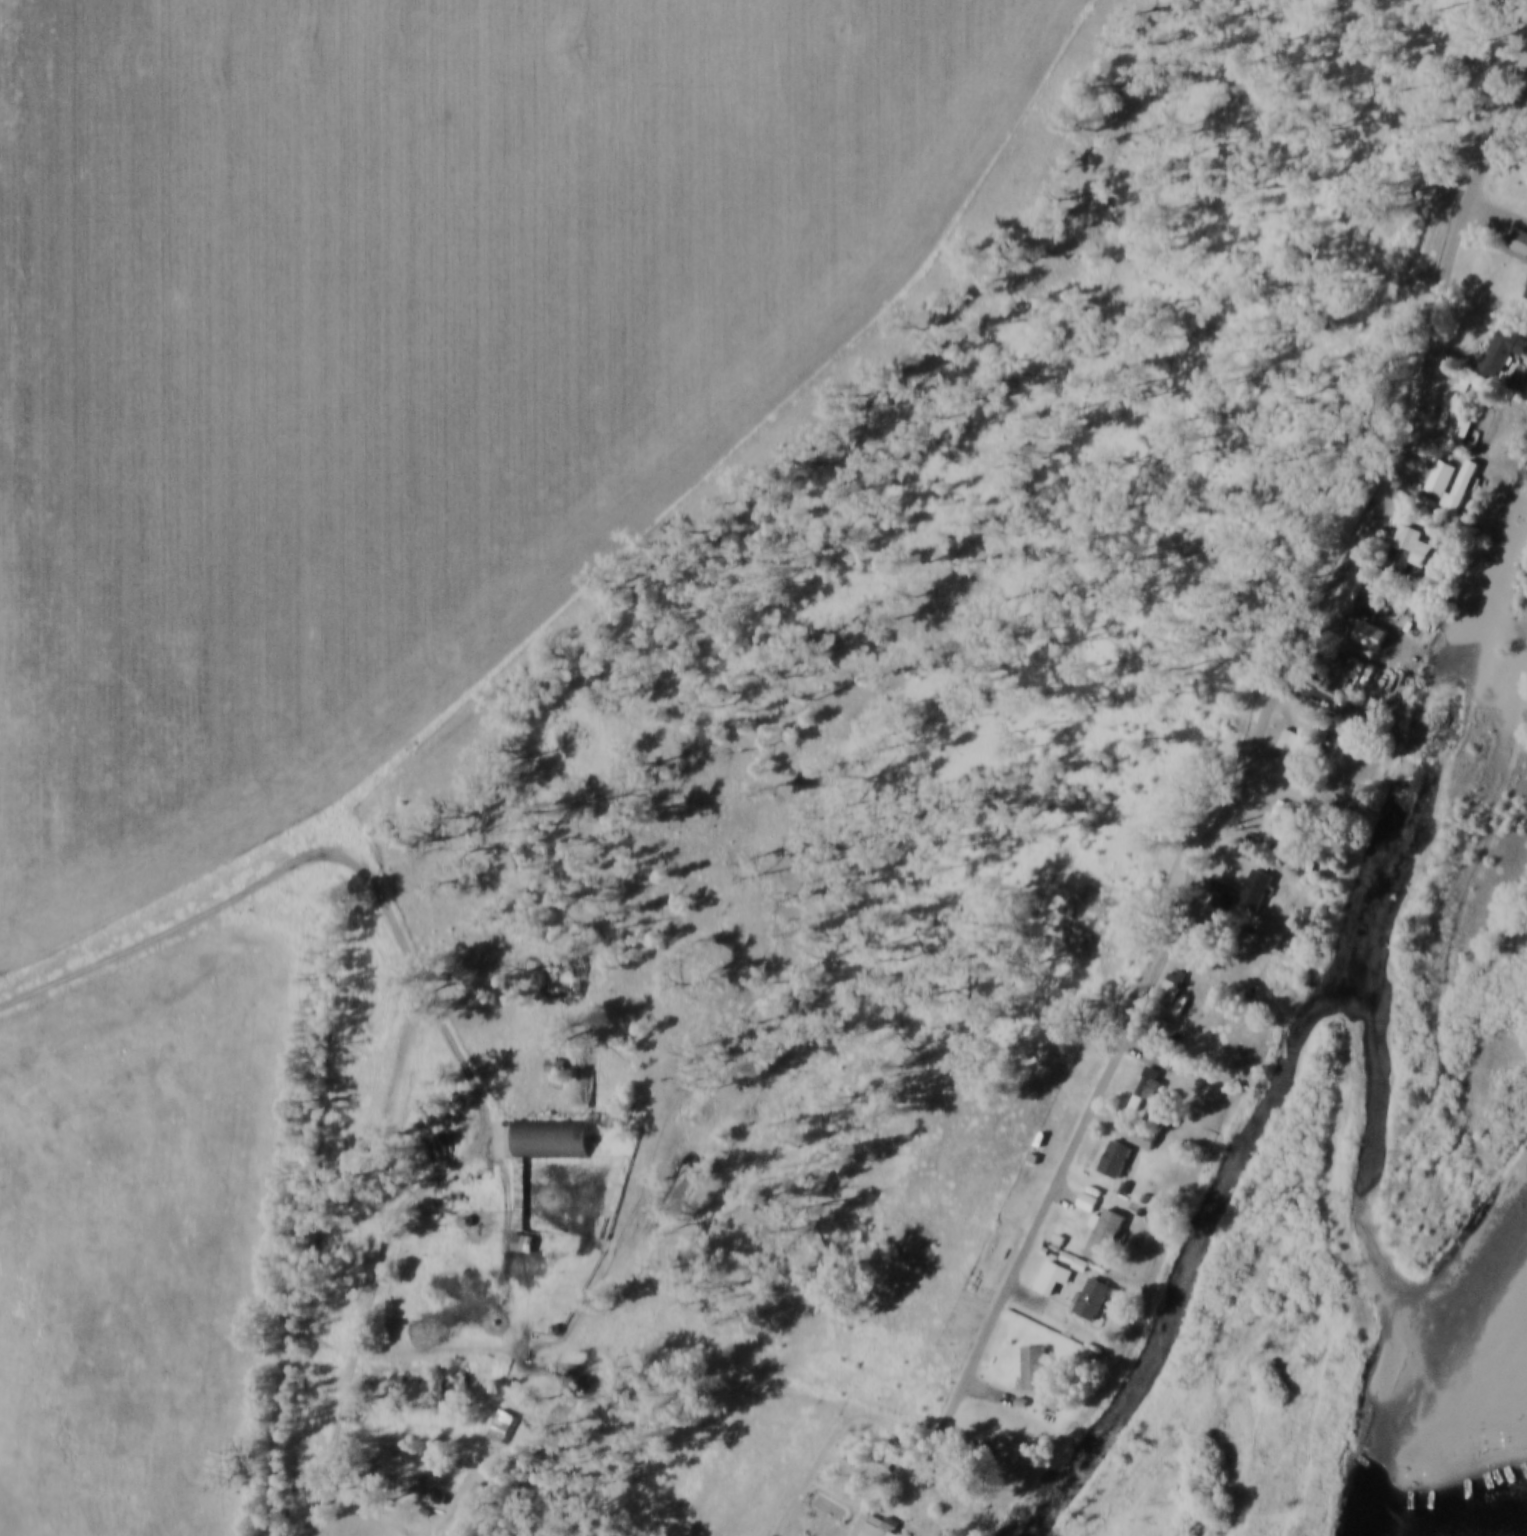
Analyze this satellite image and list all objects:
building: (1519, 238)
building: (1526, 294)
building: (1503, 348)
building: (1459, 429)
building: (1405, 546)
building: (1370, 596)
building: (1344, 670)
building: (1293, 740)
road: (1244, 752)
building: (1258, 887)
building: (1224, 894)
building: (1175, 981)
road: (415, 1001)
building: (1189, 1003)
building: (557, 1063)
building: (1148, 1085)
road: (486, 1112)
building: (1143, 1134)
building: (1116, 1156)
building: (520, 1194)
building: (1088, 1200)
building: (1106, 1232)
building: (1075, 1259)
building: (1053, 1275)
building: (1093, 1297)
building: (1034, 1365)
building: (502, 1424)
road: (839, 1438)
building: (480, 1491)
building: (435, 1494)
building: (874, 1526)
road: (427, 1535)

